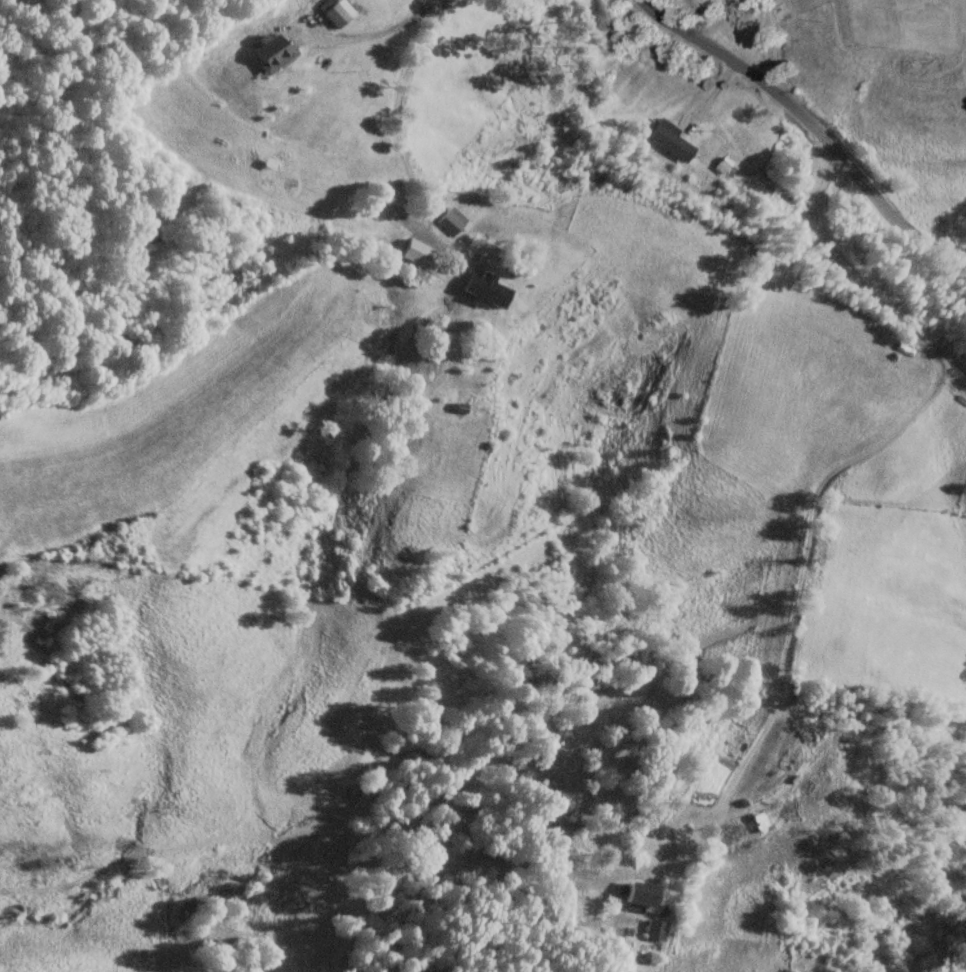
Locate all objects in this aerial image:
road: (376, 34)
road: (394, 131)
road: (807, 132)
road: (817, 487)

